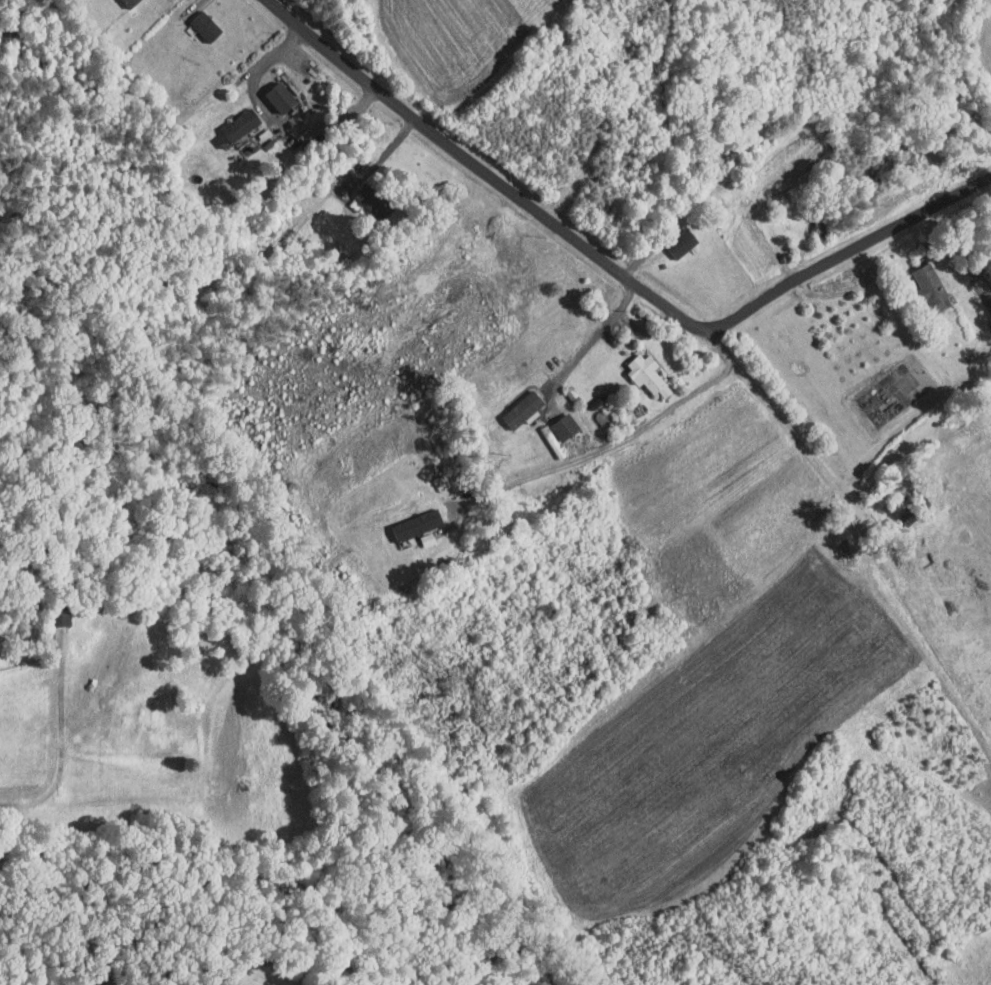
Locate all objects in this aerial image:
building: (119, 1)
building: (195, 20)
building: (270, 92)
road: (274, 117)
building: (228, 120)
road: (779, 147)
building: (360, 192)
road: (521, 199)
road: (887, 231)
building: (672, 238)
building: (921, 278)
building: (987, 320)
road: (651, 332)
road: (595, 335)
building: (637, 370)
building: (512, 403)
road: (619, 440)
building: (407, 518)
road: (60, 747)

